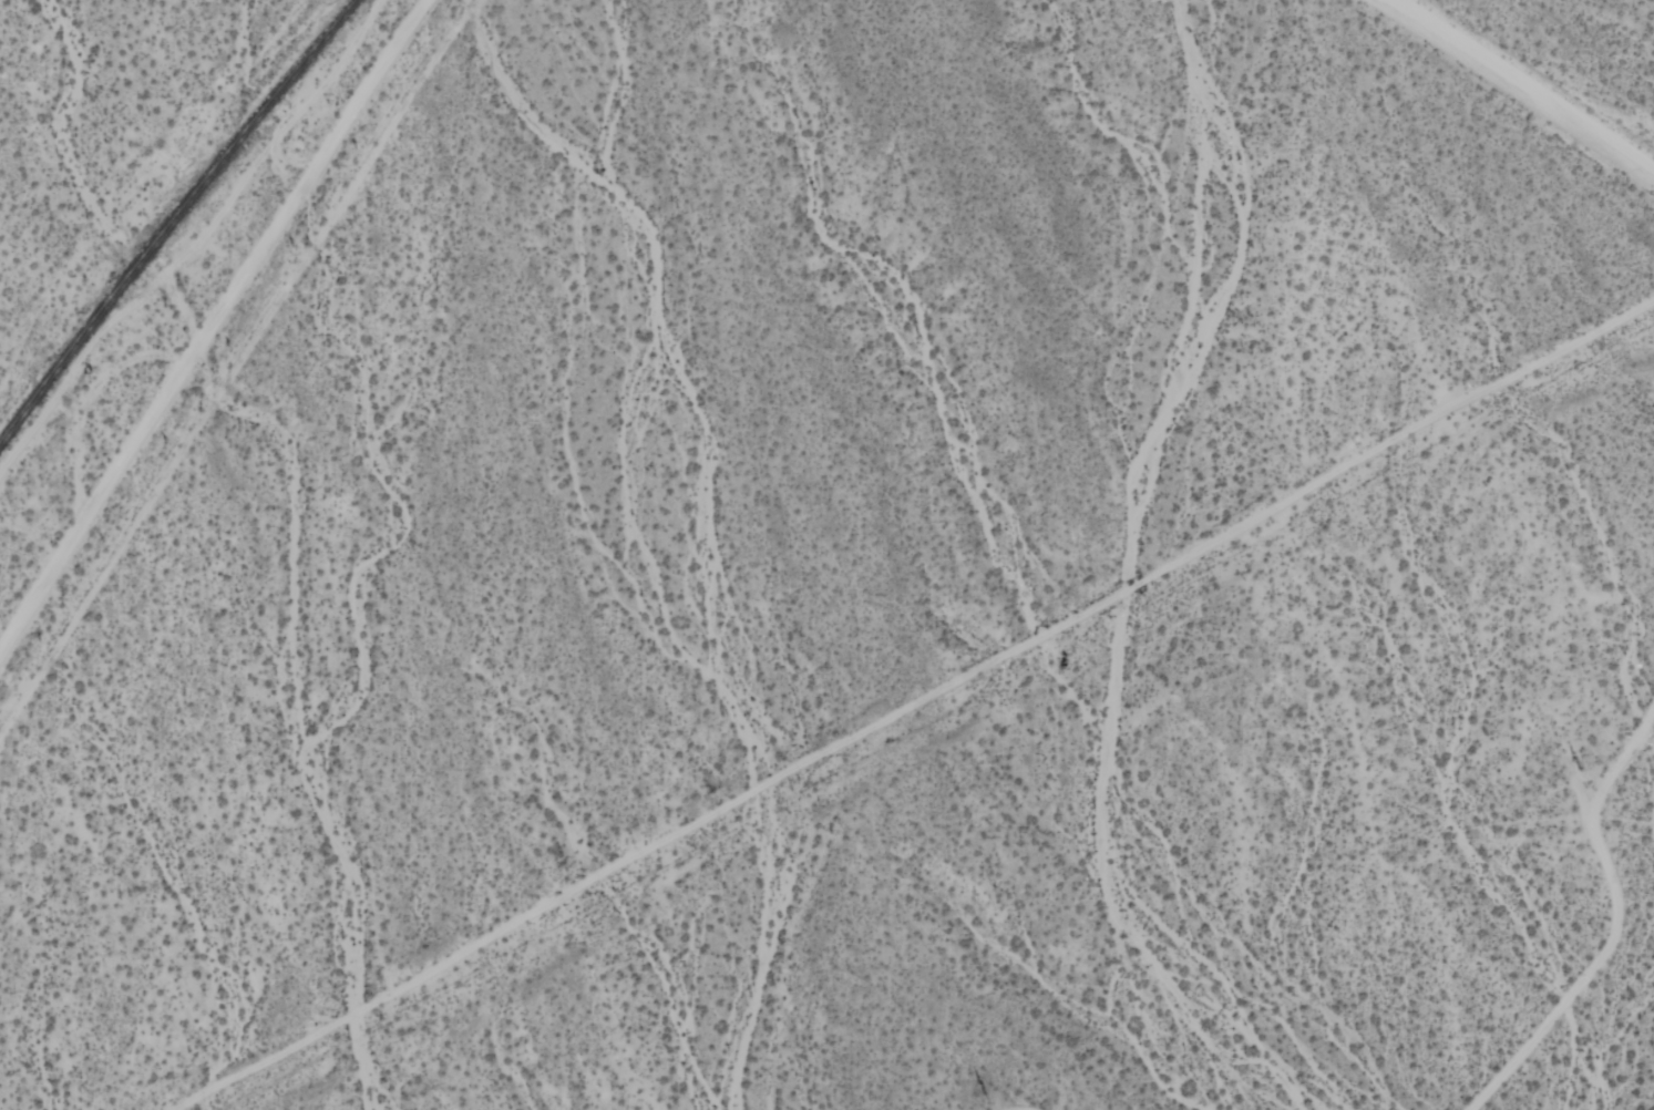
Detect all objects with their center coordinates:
road: (1514, 88)
railway: (176, 217)
road: (208, 322)
power tower: (1582, 763)
power tower: (977, 1086)

